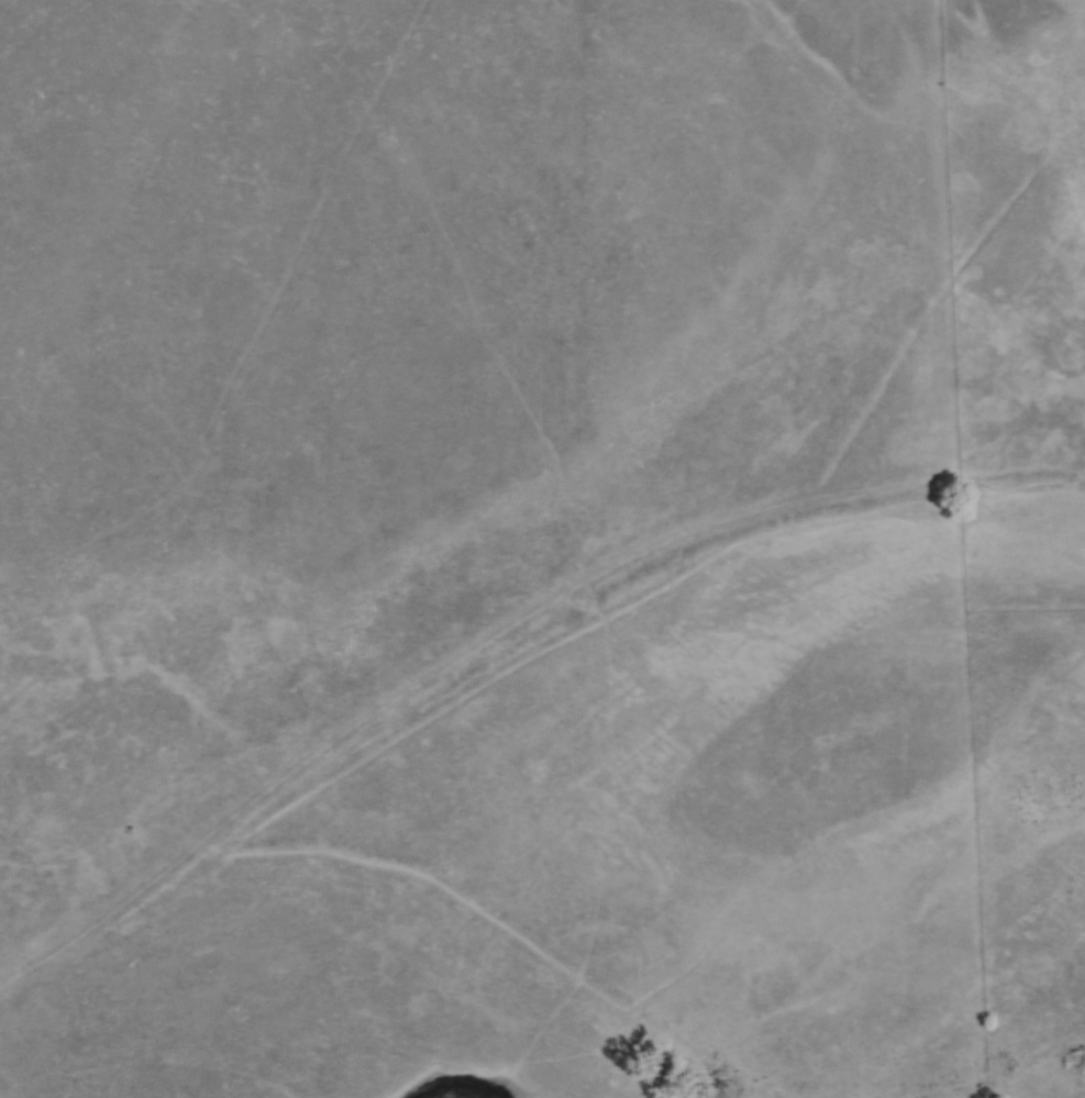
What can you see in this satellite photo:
river: (462, 1094)

